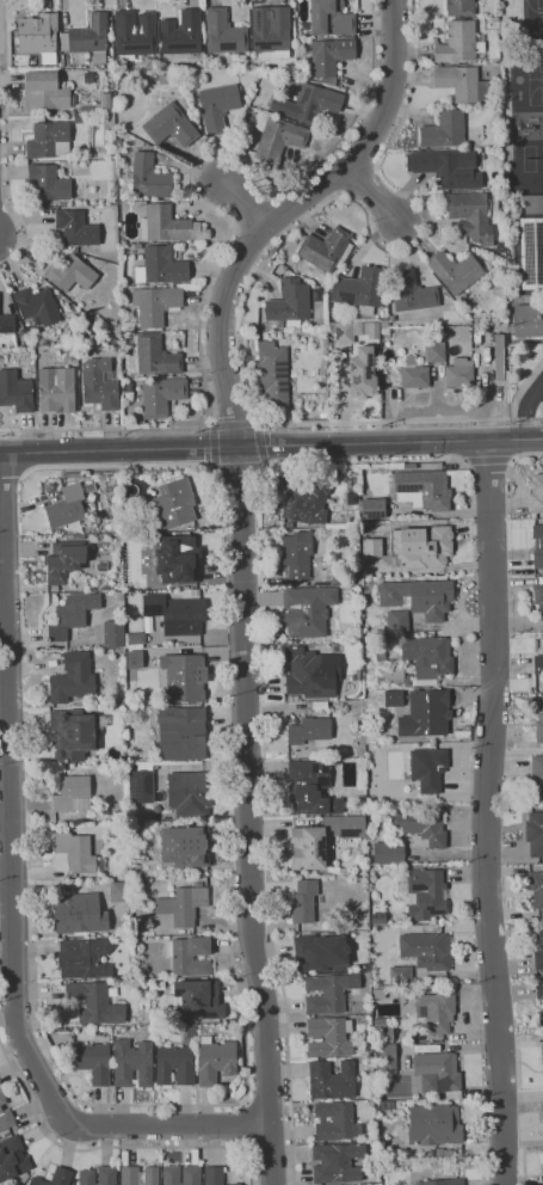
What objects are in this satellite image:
building: (461, 7)
building: (331, 18)
building: (271, 30)
building: (181, 33)
building: (224, 33)
building: (135, 35)
building: (39, 36)
building: (88, 37)
building: (459, 42)
building: (329, 56)
building: (150, 60)
building: (62, 61)
building: (462, 82)
building: (47, 91)
building: (313, 102)
building: (106, 103)
building: (88, 106)
building: (217, 106)
building: (280, 108)
building: (84, 112)
building: (79, 118)
building: (171, 125)
building: (444, 130)
building: (276, 137)
building: (49, 140)
road: (7, 141)
building: (448, 168)
building: (146, 178)
building: (48, 183)
road: (376, 196)
road: (240, 199)
building: (530, 203)
road: (285, 211)
building: (470, 216)
road: (229, 223)
building: (168, 225)
building: (76, 228)
road: (278, 244)
building: (326, 250)
building: (530, 252)
building: (489, 262)
building: (161, 265)
building: (455, 271)
building: (70, 274)
building: (496, 275)
building: (360, 289)
building: (411, 291)
building: (156, 303)
building: (289, 303)
building: (37, 306)
building: (527, 320)
building: (6, 324)
building: (370, 330)
building: (345, 333)
building: (438, 352)
building: (153, 356)
building: (362, 374)
building: (459, 374)
building: (271, 375)
building: (414, 376)
building: (100, 383)
road: (522, 386)
road: (541, 386)
building: (56, 389)
building: (16, 391)
building: (161, 395)
road: (525, 407)
parking lot: (539, 410)
road: (258, 422)
road: (211, 424)
road: (235, 425)
road: (260, 444)
road: (271, 444)
road: (214, 446)
road: (525, 455)
road: (381, 460)
road: (122, 465)
road: (490, 465)
road: (265, 466)
road: (215, 467)
road: (239, 467)
road: (11, 479)
building: (424, 489)
building: (536, 493)
building: (306, 498)
building: (174, 504)
building: (68, 509)
building: (372, 509)
building: (538, 546)
building: (370, 547)
building: (422, 547)
building: (297, 554)
building: (178, 559)
building: (64, 560)
building: (354, 577)
building: (335, 579)
building: (90, 588)
building: (105, 588)
building: (196, 592)
building: (119, 595)
building: (419, 597)
building: (538, 597)
building: (308, 610)
building: (177, 614)
building: (72, 615)
building: (399, 621)
building: (113, 633)
building: (132, 658)
building: (416, 662)
building: (538, 663)
building: (309, 673)
building: (185, 677)
building: (73, 679)
building: (394, 699)
building: (431, 714)
building: (533, 729)
building: (309, 730)
building: (183, 732)
building: (74, 733)
building: (337, 761)
building: (363, 761)
building: (432, 769)
building: (537, 773)
building: (310, 788)
building: (142, 790)
building: (73, 794)
building: (190, 794)
road: (487, 812)
building: (121, 815)
road: (248, 816)
building: (72, 825)
building: (346, 825)
building: (420, 825)
building: (136, 827)
building: (535, 834)
building: (185, 846)
building: (308, 848)
building: (389, 852)
building: (78, 853)
building: (536, 889)
building: (119, 892)
road: (11, 894)
building: (424, 894)
building: (303, 902)
building: (184, 904)
building: (80, 914)
building: (181, 931)
building: (426, 950)
building: (539, 952)
building: (321, 953)
building: (189, 956)
building: (84, 958)
building: (400, 975)
building: (539, 989)
building: (328, 993)
building: (380, 994)
building: (198, 999)
building: (94, 1002)
building: (437, 1011)
building: (541, 1018)
road: (8, 1019)
building: (189, 1032)
building: (383, 1033)
building: (329, 1037)
building: (368, 1052)
building: (542, 1054)
building: (385, 1057)
road: (289, 1060)
building: (92, 1061)
building: (216, 1061)
building: (370, 1061)
building: (134, 1062)
building: (175, 1066)
building: (439, 1074)
building: (332, 1080)
road: (267, 1101)
road: (159, 1105)
building: (383, 1105)
building: (5, 1113)
building: (335, 1122)
road: (246, 1124)
building: (434, 1125)
road: (110, 1147)
road: (271, 1147)
building: (12, 1158)
building: (124, 1158)
building: (338, 1162)
building: (542, 1166)
road: (525, 1169)
road: (483, 1171)
building: (191, 1174)
building: (99, 1175)
building: (140, 1175)
building: (214, 1175)
building: (53, 1178)
building: (442, 1181)
building: (236, 1184)

